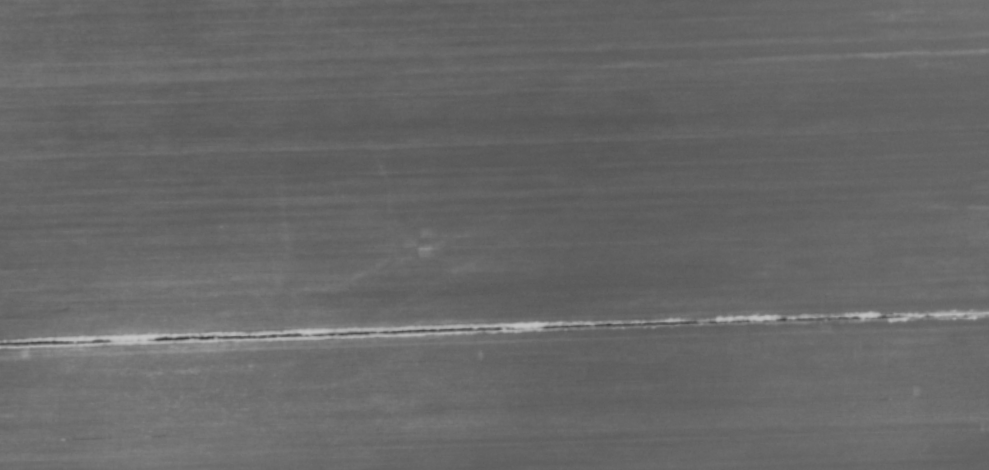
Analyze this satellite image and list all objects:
crop: (494, 235)

